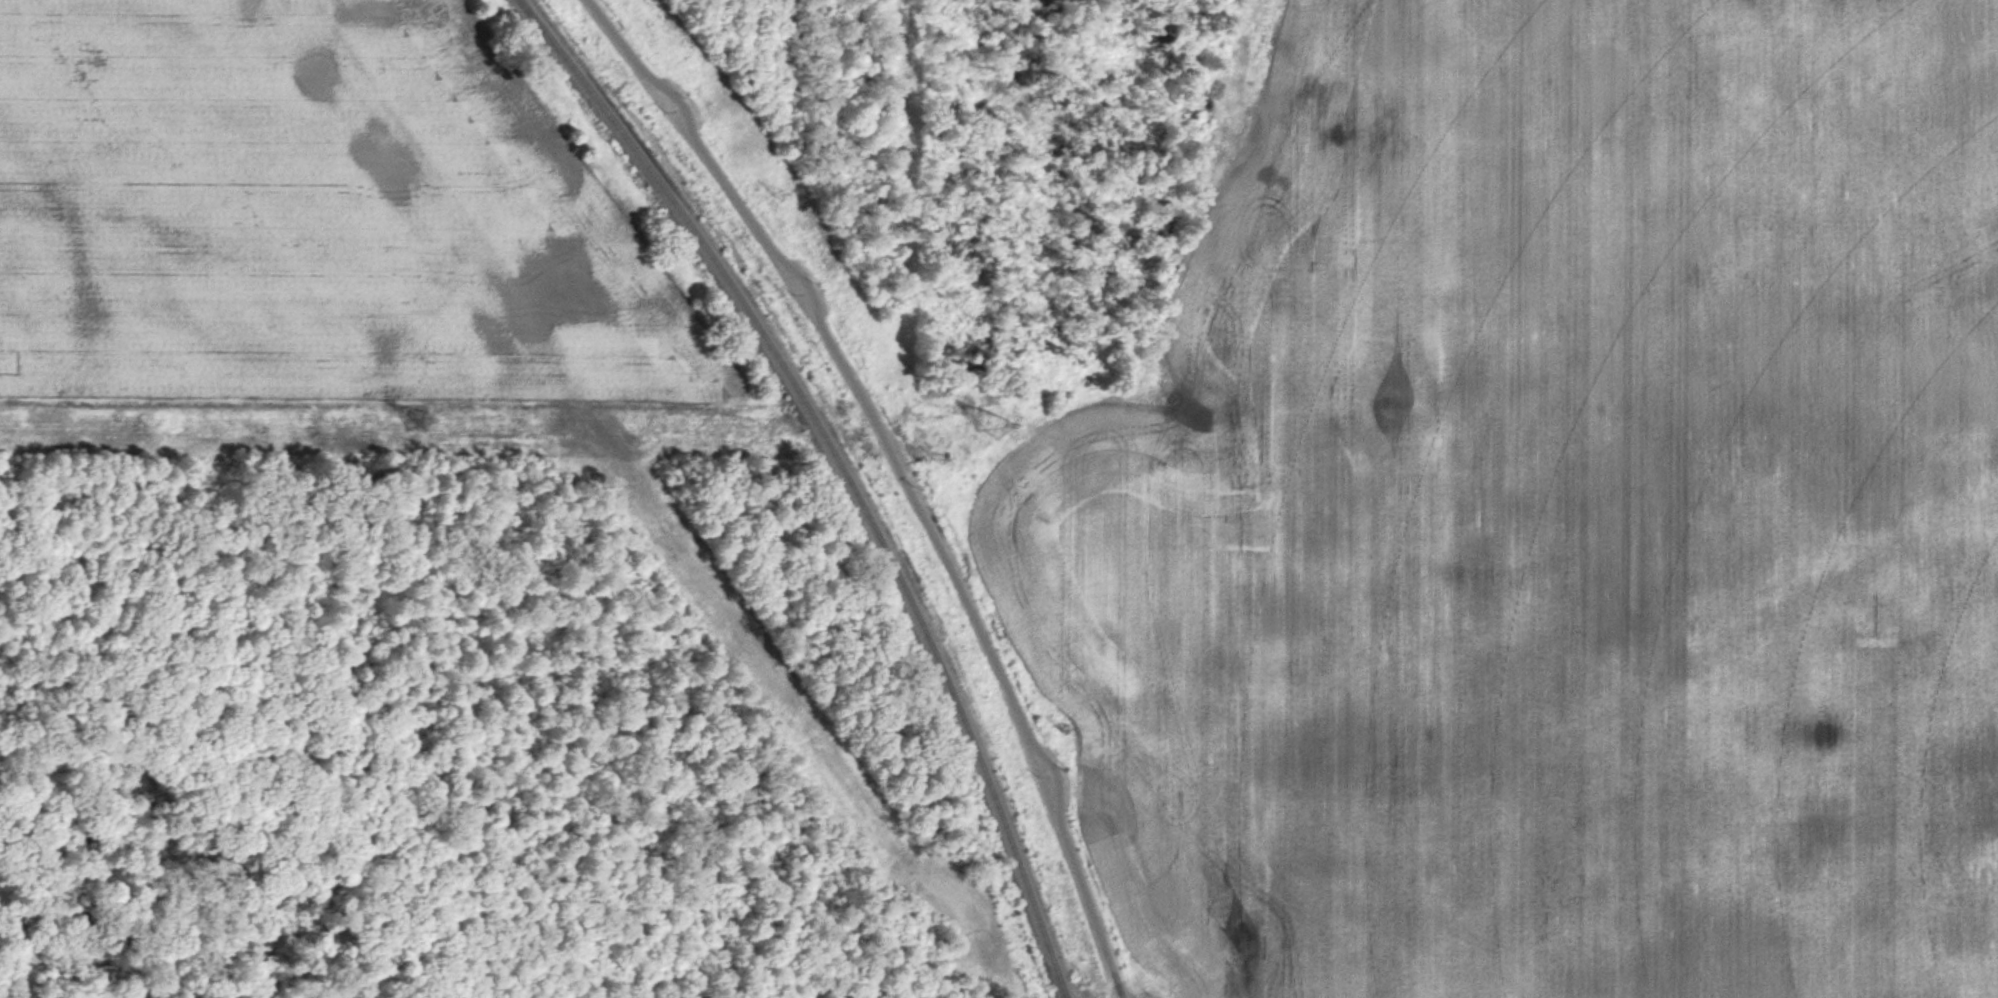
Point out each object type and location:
power tower: (416, 419)
power tower: (991, 426)
power tower: (940, 460)
railway: (841, 471)
road: (896, 476)
power tower: (1066, 726)

